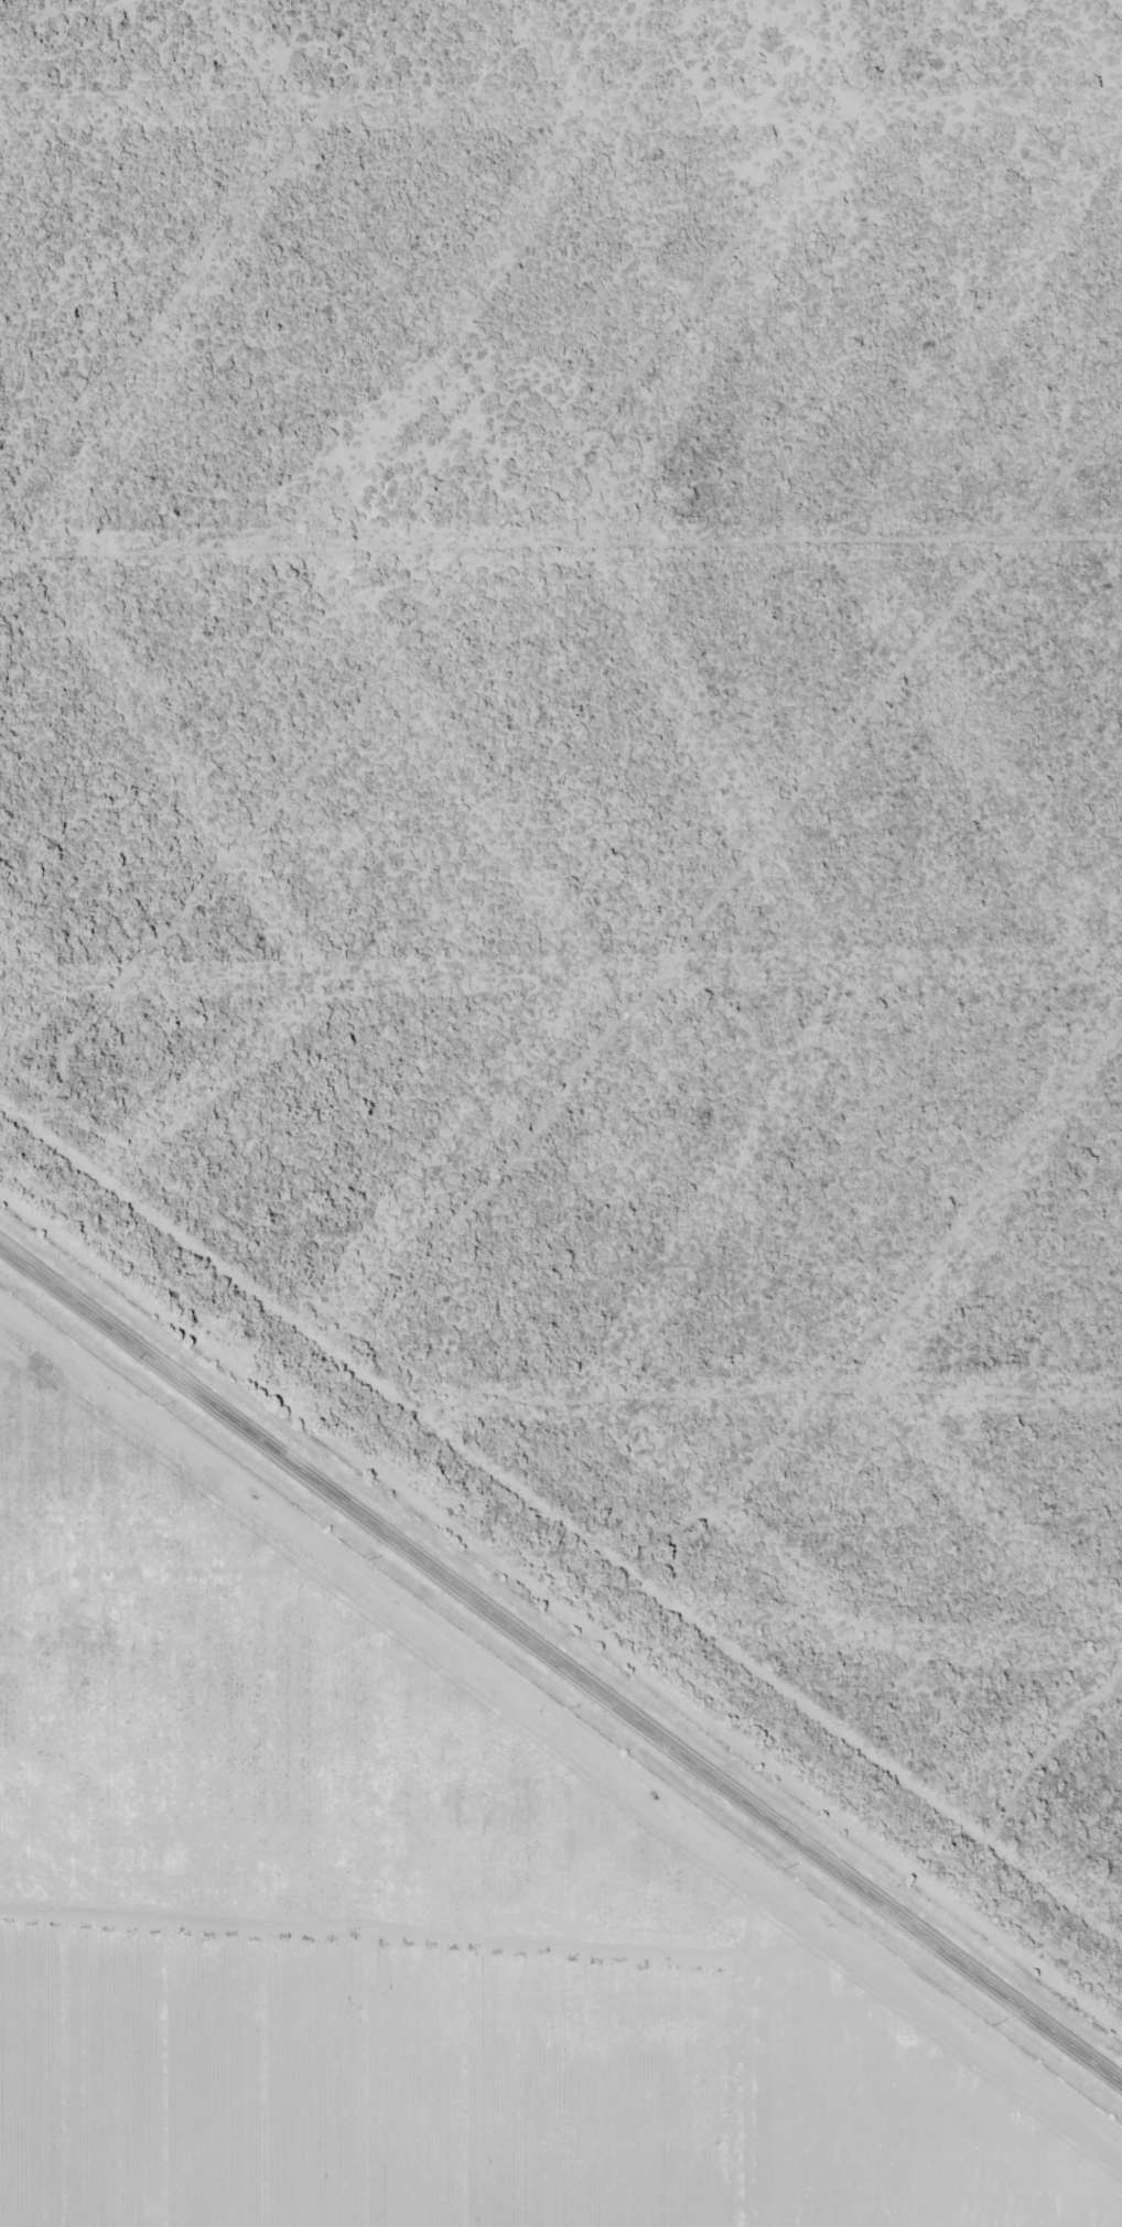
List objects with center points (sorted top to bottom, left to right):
road: (561, 1654)

